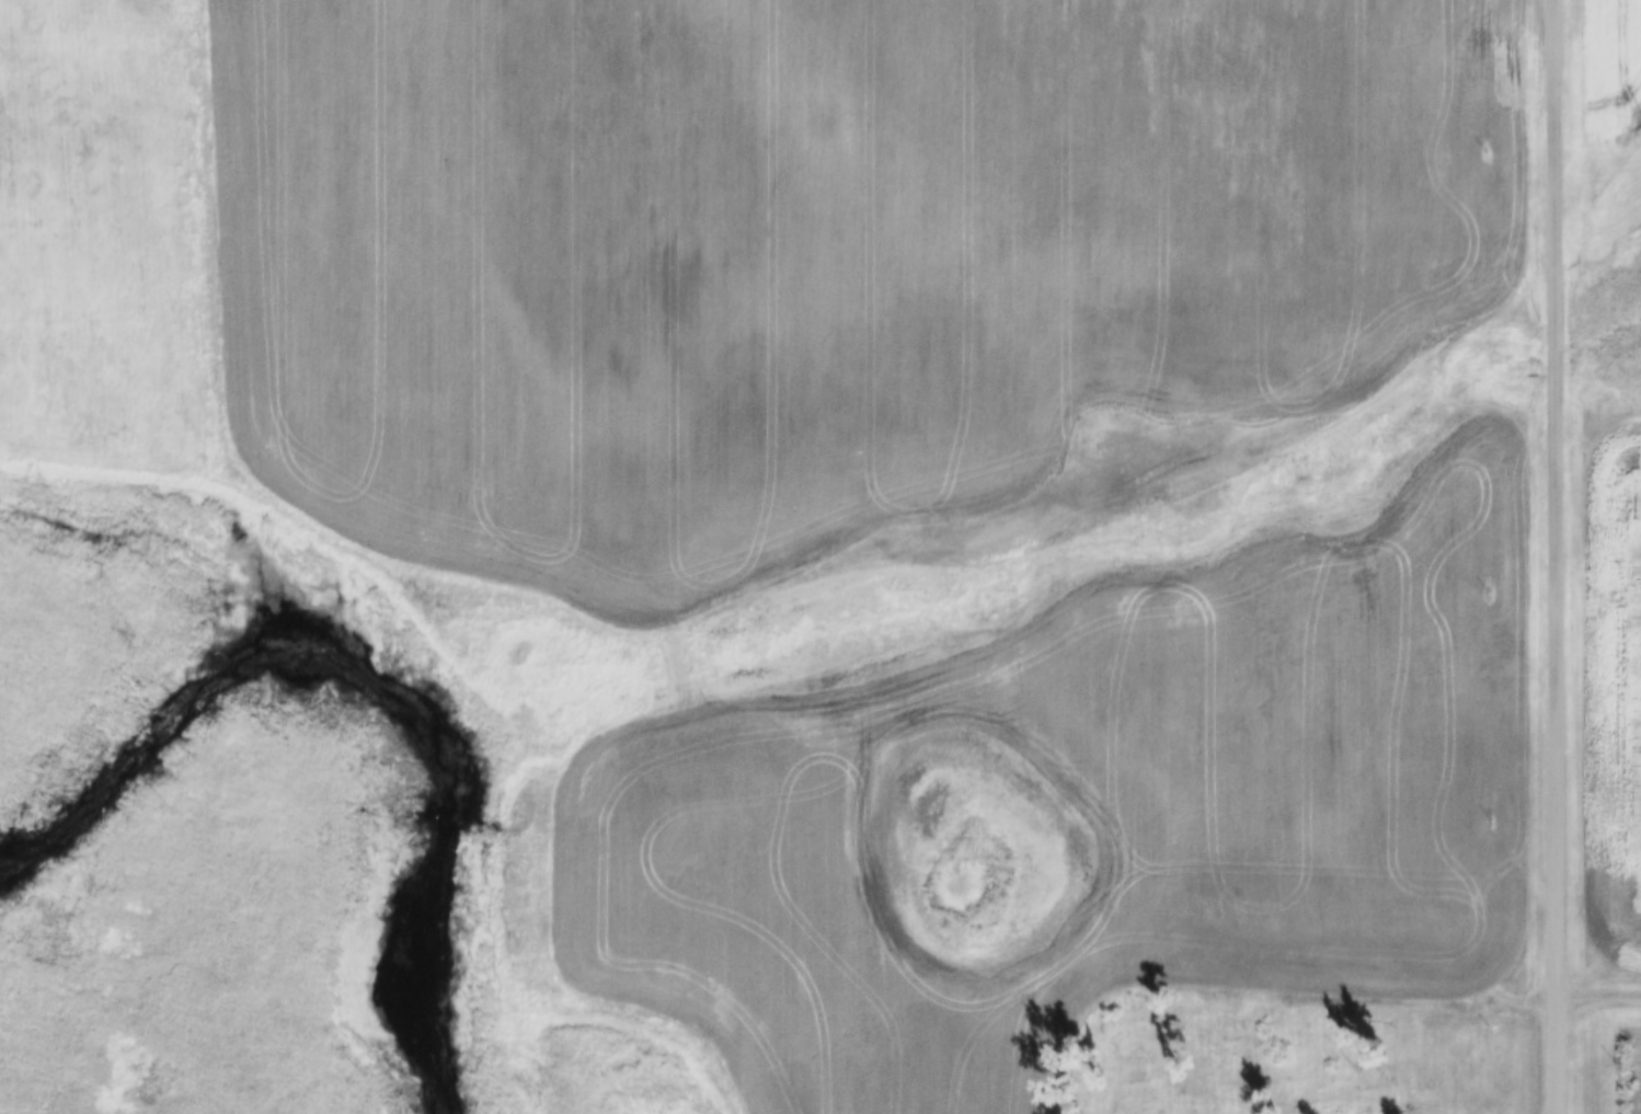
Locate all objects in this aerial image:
road: (1552, 556)
river: (368, 691)
crop: (1292, 755)
road: (1597, 994)

